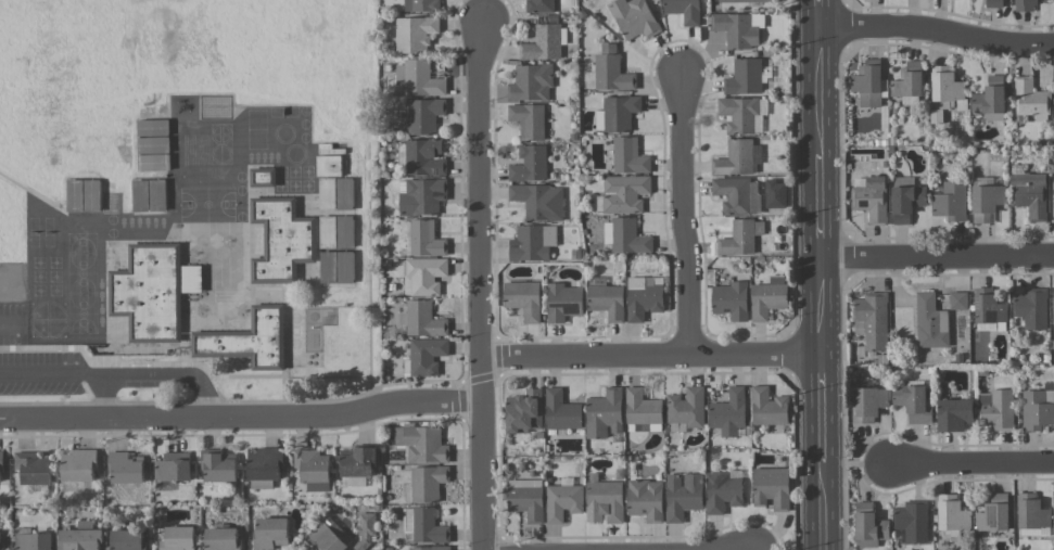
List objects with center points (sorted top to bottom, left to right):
building: (747, 0)
building: (993, 3)
building: (421, 5)
building: (539, 5)
building: (1025, 5)
building: (684, 10)
building: (634, 17)
building: (738, 28)
road: (939, 31)
building: (415, 34)
building: (543, 43)
building: (609, 71)
building: (745, 77)
building: (418, 78)
building: (909, 81)
building: (531, 82)
building: (867, 82)
building: (945, 84)
building: (1030, 98)
building: (990, 99)
building: (617, 113)
building: (424, 114)
building: (740, 114)
building: (529, 119)
building: (628, 155)
building: (424, 156)
building: (735, 157)
building: (530, 163)
building: (329, 165)
building: (624, 192)
building: (327, 193)
building: (344, 193)
building: (84, 194)
building: (141, 194)
building: (157, 194)
building: (737, 194)
building: (1030, 194)
building: (421, 195)
building: (871, 196)
building: (906, 197)
building: (1053, 199)
building: (539, 201)
building: (951, 201)
building: (987, 201)
road: (685, 215)
road: (481, 216)
building: (344, 231)
building: (625, 235)
building: (740, 236)
building: (424, 239)
building: (281, 241)
building: (532, 242)
road: (938, 256)
building: (336, 267)
road: (822, 274)
building: (424, 276)
building: (150, 293)
building: (644, 296)
building: (523, 298)
building: (606, 298)
building: (731, 299)
building: (767, 299)
building: (958, 299)
building: (563, 302)
building: (1053, 303)
building: (1031, 307)
building: (988, 309)
building: (423, 319)
building: (872, 319)
building: (930, 321)
building: (250, 341)
building: (426, 355)
road: (650, 355)
road: (174, 371)
road: (53, 372)
road: (107, 396)
building: (913, 402)
building: (868, 404)
building: (687, 407)
building: (769, 407)
building: (996, 408)
building: (1037, 408)
building: (561, 410)
building: (643, 410)
building: (524, 411)
building: (728, 412)
building: (605, 413)
building: (954, 413)
road: (242, 418)
building: (422, 444)
building: (358, 461)
building: (78, 464)
building: (0, 465)
road: (970, 465)
building: (33, 466)
building: (264, 466)
building: (219, 468)
building: (127, 469)
building: (313, 469)
road: (483, 475)
building: (426, 483)
building: (771, 486)
building: (722, 491)
building: (682, 495)
building: (526, 498)
building: (563, 499)
building: (645, 499)
building: (604, 500)
building: (952, 513)
building: (993, 513)
building: (1032, 515)
building: (911, 522)
building: (868, 523)
building: (85, 524)
building: (424, 525)
building: (270, 533)
building: (178, 538)
building: (221, 538)
building: (326, 538)
building: (0, 539)
building: (79, 539)
building: (128, 539)
building: (34, 541)
building: (429, 548)

